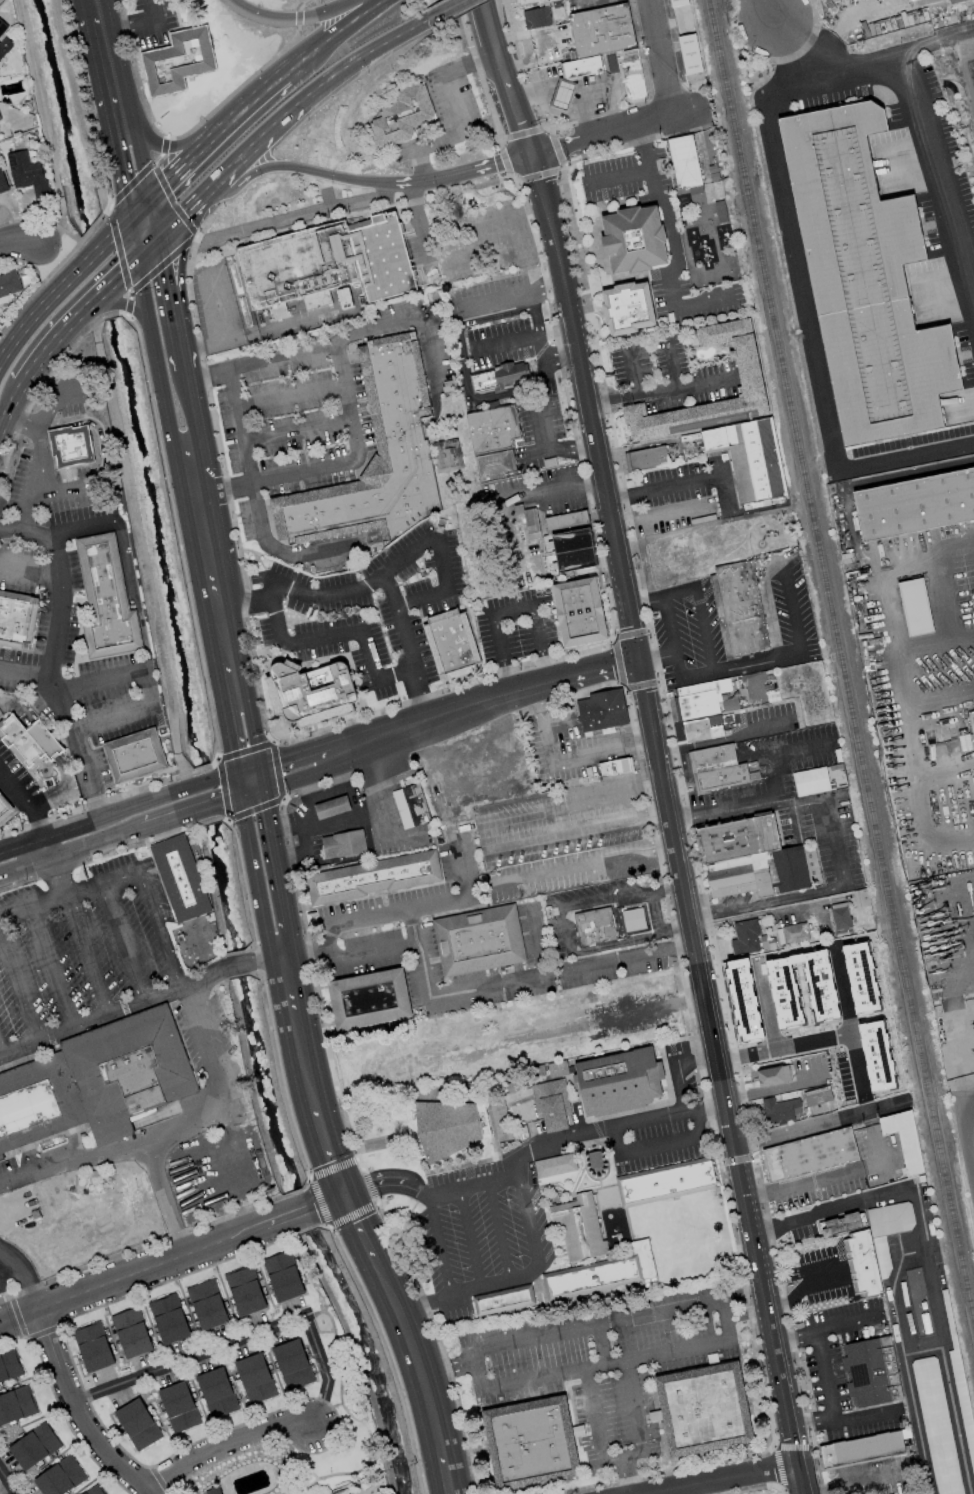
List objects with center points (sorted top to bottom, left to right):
building: (911, 1)
building: (535, 2)
building: (677, 3)
road: (304, 4)
road: (95, 5)
road: (448, 11)
road: (764, 11)
building: (536, 18)
road: (297, 21)
road: (139, 23)
building: (601, 30)
road: (339, 31)
road: (297, 37)
building: (4, 40)
road: (494, 41)
road: (541, 44)
building: (689, 54)
road: (370, 56)
road: (660, 60)
road: (108, 61)
building: (177, 61)
road: (519, 64)
road: (480, 69)
railway: (971, 73)
building: (631, 75)
building: (693, 77)
building: (572, 80)
road: (565, 96)
road: (263, 97)
road: (457, 114)
building: (400, 115)
road: (518, 119)
building: (0, 120)
road: (286, 121)
road: (919, 121)
road: (130, 124)
road: (615, 134)
road: (707, 143)
road: (184, 144)
traffic signals: (529, 157)
building: (683, 161)
road: (190, 167)
road: (296, 167)
road: (117, 169)
road: (145, 171)
road: (233, 171)
road: (458, 173)
building: (27, 174)
road: (619, 177)
building: (2, 182)
traffic signals: (151, 205)
road: (139, 216)
road: (184, 219)
road: (417, 222)
road: (276, 223)
road: (154, 225)
traffic signals: (128, 228)
road: (122, 233)
road: (50, 237)
building: (634, 240)
road: (19, 242)
road: (79, 244)
road: (673, 244)
traffic signals: (158, 245)
road: (132, 247)
road: (100, 253)
road: (147, 255)
building: (327, 262)
traffic signals: (136, 266)
road: (127, 274)
building: (864, 281)
building: (8, 286)
road: (107, 293)
building: (343, 298)
road: (143, 299)
road: (109, 305)
road: (92, 306)
road: (172, 308)
road: (92, 309)
building: (628, 309)
road: (38, 310)
road: (443, 311)
road: (804, 313)
road: (138, 316)
road: (222, 329)
road: (537, 329)
road: (508, 342)
road: (49, 347)
road: (433, 352)
road: (258, 363)
road: (562, 363)
road: (672, 365)
road: (463, 368)
road: (630, 374)
building: (507, 376)
building: (751, 379)
road: (657, 391)
road: (289, 396)
road: (163, 403)
road: (52, 405)
road: (588, 407)
road: (9, 411)
road: (193, 420)
building: (493, 428)
road: (296, 431)
road: (39, 445)
building: (69, 446)
road: (552, 448)
road: (104, 456)
building: (446, 456)
building: (379, 457)
building: (645, 458)
building: (751, 462)
road: (332, 465)
building: (498, 466)
road: (673, 486)
road: (725, 491)
road: (514, 499)
road: (253, 504)
building: (915, 504)
road: (25, 512)
building: (532, 523)
road: (10, 527)
building: (570, 539)
road: (207, 545)
road: (857, 548)
road: (438, 556)
road: (125, 566)
road: (30, 571)
road: (371, 584)
road: (61, 591)
building: (104, 600)
building: (914, 607)
building: (737, 609)
building: (577, 611)
road: (512, 612)
building: (17, 623)
road: (704, 630)
road: (537, 633)
road: (670, 636)
road: (324, 639)
road: (500, 642)
building: (453, 643)
road: (227, 644)
road: (793, 655)
traffic signals: (638, 660)
railway: (839, 663)
road: (546, 670)
road: (595, 670)
road: (396, 677)
road: (509, 680)
road: (234, 683)
road: (145, 684)
building: (316, 688)
road: (17, 709)
building: (703, 709)
building: (601, 711)
road: (447, 715)
building: (1, 716)
building: (971, 722)
road: (68, 724)
road: (254, 730)
road: (228, 735)
road: (726, 739)
building: (31, 740)
road: (43, 742)
road: (798, 748)
road: (302, 755)
building: (131, 756)
road: (574, 757)
traffic signals: (261, 765)
building: (614, 767)
road: (248, 768)
building: (718, 768)
traffic signals: (235, 772)
road: (306, 773)
road: (262, 775)
road: (62, 780)
road: (770, 781)
building: (810, 781)
road: (236, 783)
traffic signals: (264, 786)
road: (250, 790)
road: (168, 794)
traffic signals: (237, 794)
road: (63, 800)
road: (26, 801)
building: (412, 805)
building: (5, 807)
gas station: (5, 807)
building: (333, 807)
road: (445, 808)
road: (755, 810)
road: (182, 812)
road: (342, 819)
road: (680, 825)
road: (50, 834)
road: (836, 840)
road: (518, 841)
building: (345, 844)
road: (63, 851)
building: (749, 858)
road: (276, 865)
road: (251, 872)
building: (373, 877)
building: (179, 878)
road: (68, 896)
road: (624, 897)
building: (860, 898)
road: (768, 904)
road: (769, 913)
building: (840, 917)
road: (77, 924)
building: (594, 926)
road: (158, 929)
road: (565, 931)
building: (794, 932)
building: (745, 938)
road: (541, 939)
road: (635, 939)
road: (969, 939)
building: (478, 941)
road: (124, 942)
road: (305, 950)
road: (344, 952)
road: (50, 967)
building: (860, 977)
road: (18, 988)
building: (368, 999)
road: (139, 1001)
road: (647, 1009)
road: (825, 1037)
road: (298, 1038)
road: (0, 1050)
road: (676, 1067)
building: (557, 1069)
building: (773, 1076)
road: (721, 1077)
building: (94, 1081)
building: (618, 1082)
road: (772, 1091)
road: (967, 1093)
building: (817, 1097)
building: (551, 1104)
building: (778, 1111)
building: (446, 1127)
road: (820, 1127)
road: (967, 1129)
road: (174, 1134)
building: (903, 1139)
road: (660, 1146)
road: (530, 1154)
building: (809, 1154)
building: (595, 1162)
road: (333, 1163)
building: (554, 1165)
road: (831, 1177)
building: (665, 1181)
traffic signals: (344, 1195)
road: (167, 1202)
road: (527, 1216)
building: (842, 1224)
building: (579, 1227)
road: (360, 1231)
road: (498, 1231)
park: (684, 1236)
road: (469, 1240)
road: (437, 1246)
building: (874, 1246)
road: (191, 1253)
road: (10, 1267)
road: (27, 1272)
building: (601, 1273)
building: (283, 1276)
road: (896, 1277)
road: (801, 1289)
building: (244, 1291)
road: (468, 1291)
road: (933, 1295)
road: (742, 1296)
building: (503, 1300)
building: (207, 1304)
road: (746, 1315)
road: (18, 1316)
building: (169, 1319)
road: (838, 1322)
road: (726, 1331)
building: (131, 1333)
road: (240, 1338)
road: (788, 1339)
road: (601, 1345)
building: (93, 1347)
road: (409, 1349)
building: (292, 1364)
building: (9, 1366)
road: (442, 1366)
building: (871, 1372)
road: (822, 1376)
building: (255, 1378)
building: (216, 1393)
building: (16, 1405)
building: (963, 1406)
building: (178, 1407)
building: (703, 1409)
road: (76, 1411)
road: (854, 1419)
building: (137, 1424)
road: (917, 1424)
road: (806, 1425)
building: (936, 1425)
building: (34, 1446)
road: (225, 1446)
building: (537, 1446)
building: (861, 1449)
road: (622, 1454)
road: (445, 1463)
road: (630, 1474)
building: (60, 1477)
road: (722, 1478)
road: (857, 1478)
road: (6, 1483)
road: (701, 1488)
building: (93, 1490)
building: (210, 1490)
building: (340, 1492)

